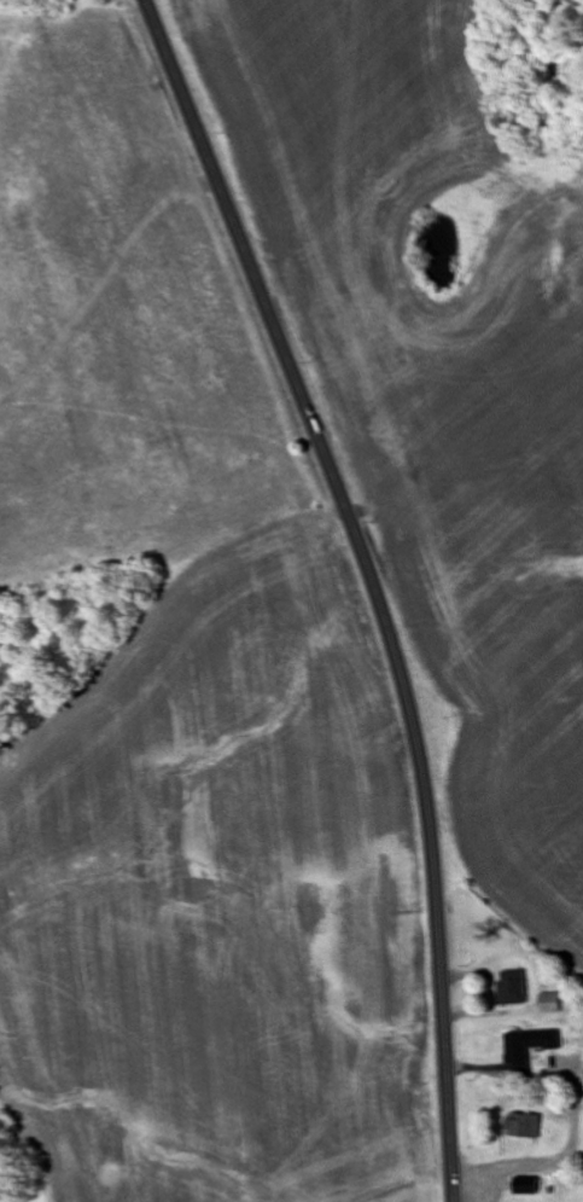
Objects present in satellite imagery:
road: (371, 582)
building: (508, 987)
building: (548, 1004)
building: (581, 1020)
building: (525, 1047)
building: (520, 1126)
road: (514, 1169)
building: (523, 1185)

